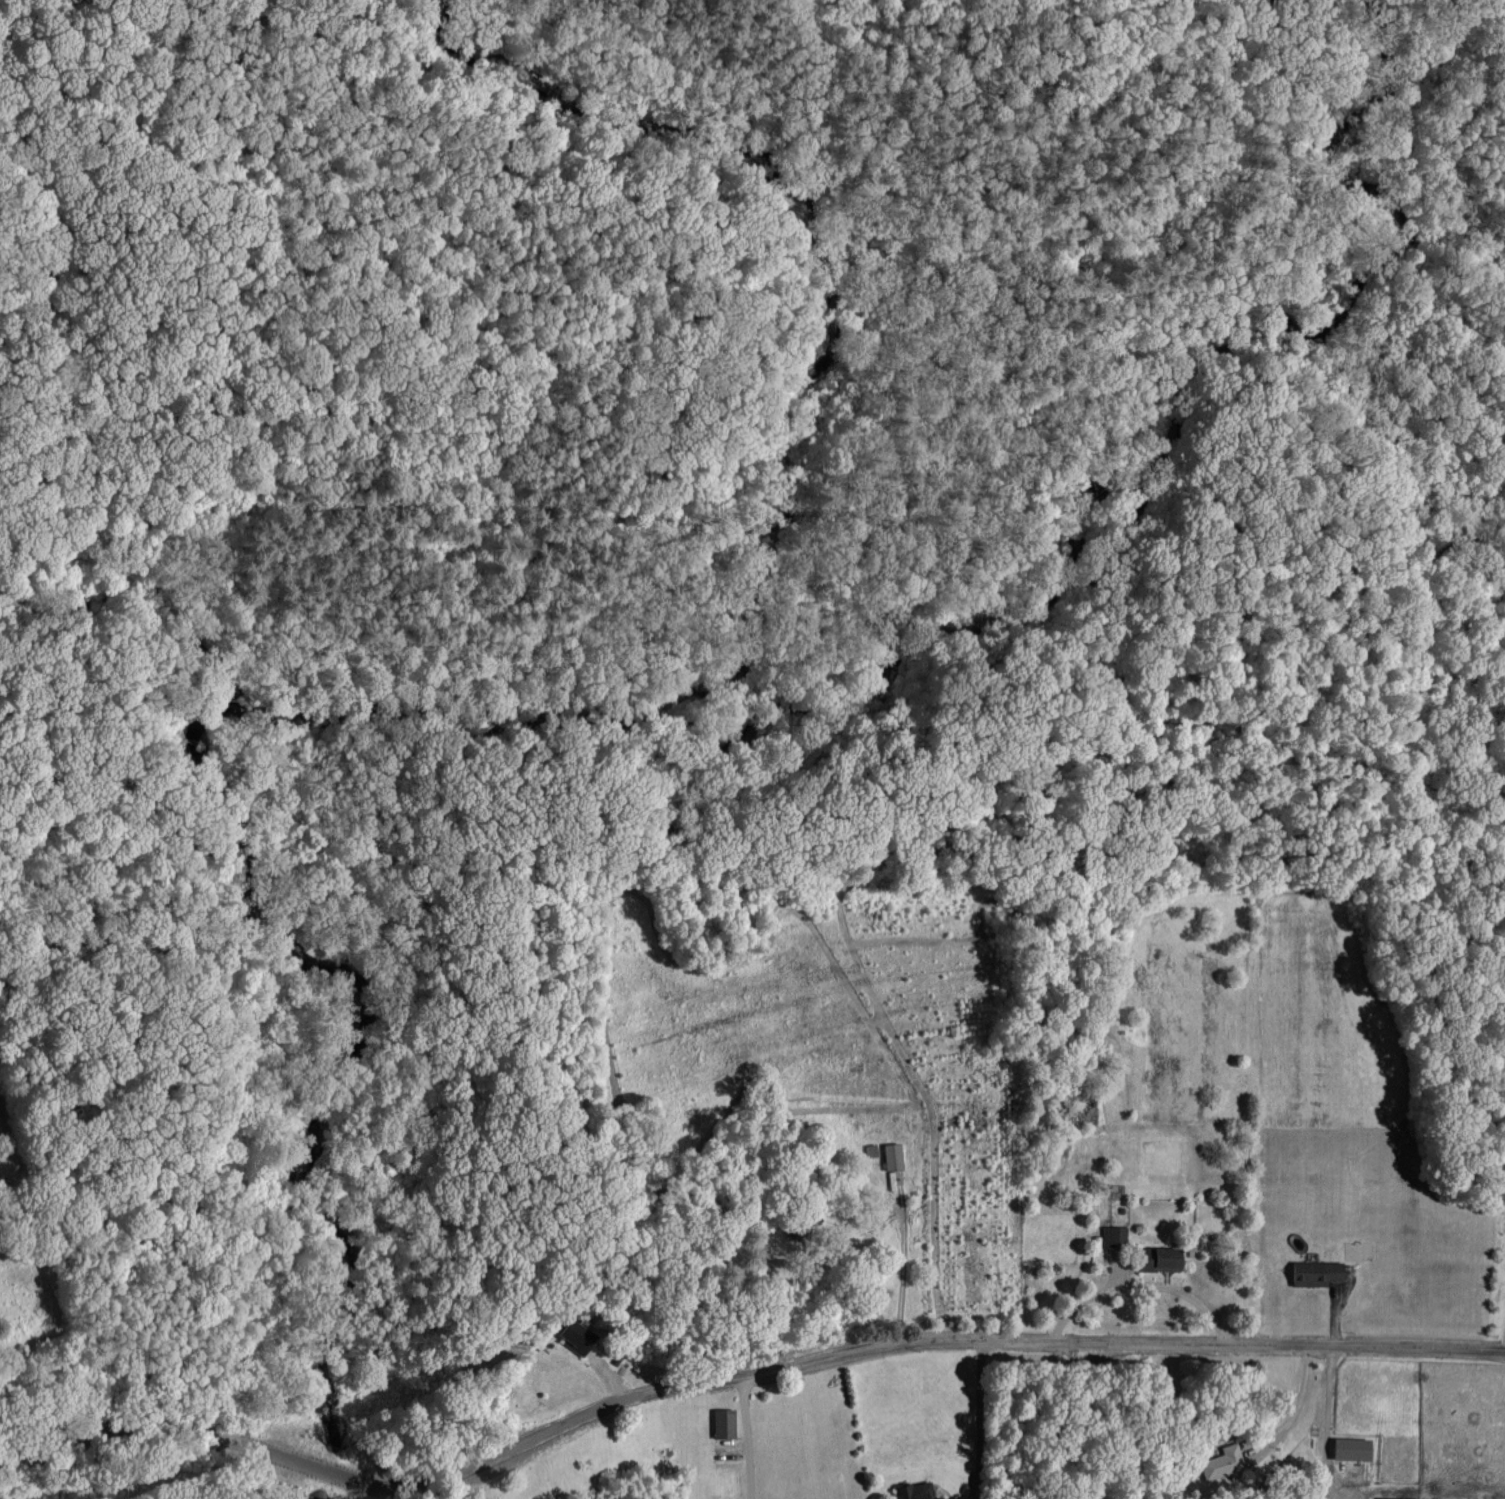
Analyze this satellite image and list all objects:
building: (895, 1155)
building: (1115, 1235)
building: (1164, 1257)
building: (1320, 1271)
road: (1137, 1281)
road: (1495, 1286)
building: (579, 1335)
road: (873, 1346)
road: (1329, 1394)
road: (1300, 1397)
road: (980, 1418)
building: (726, 1421)
road: (132, 1422)
road: (745, 1435)
building: (1355, 1447)
building: (1221, 1462)
building: (918, 1491)
building: (1400, 1497)

